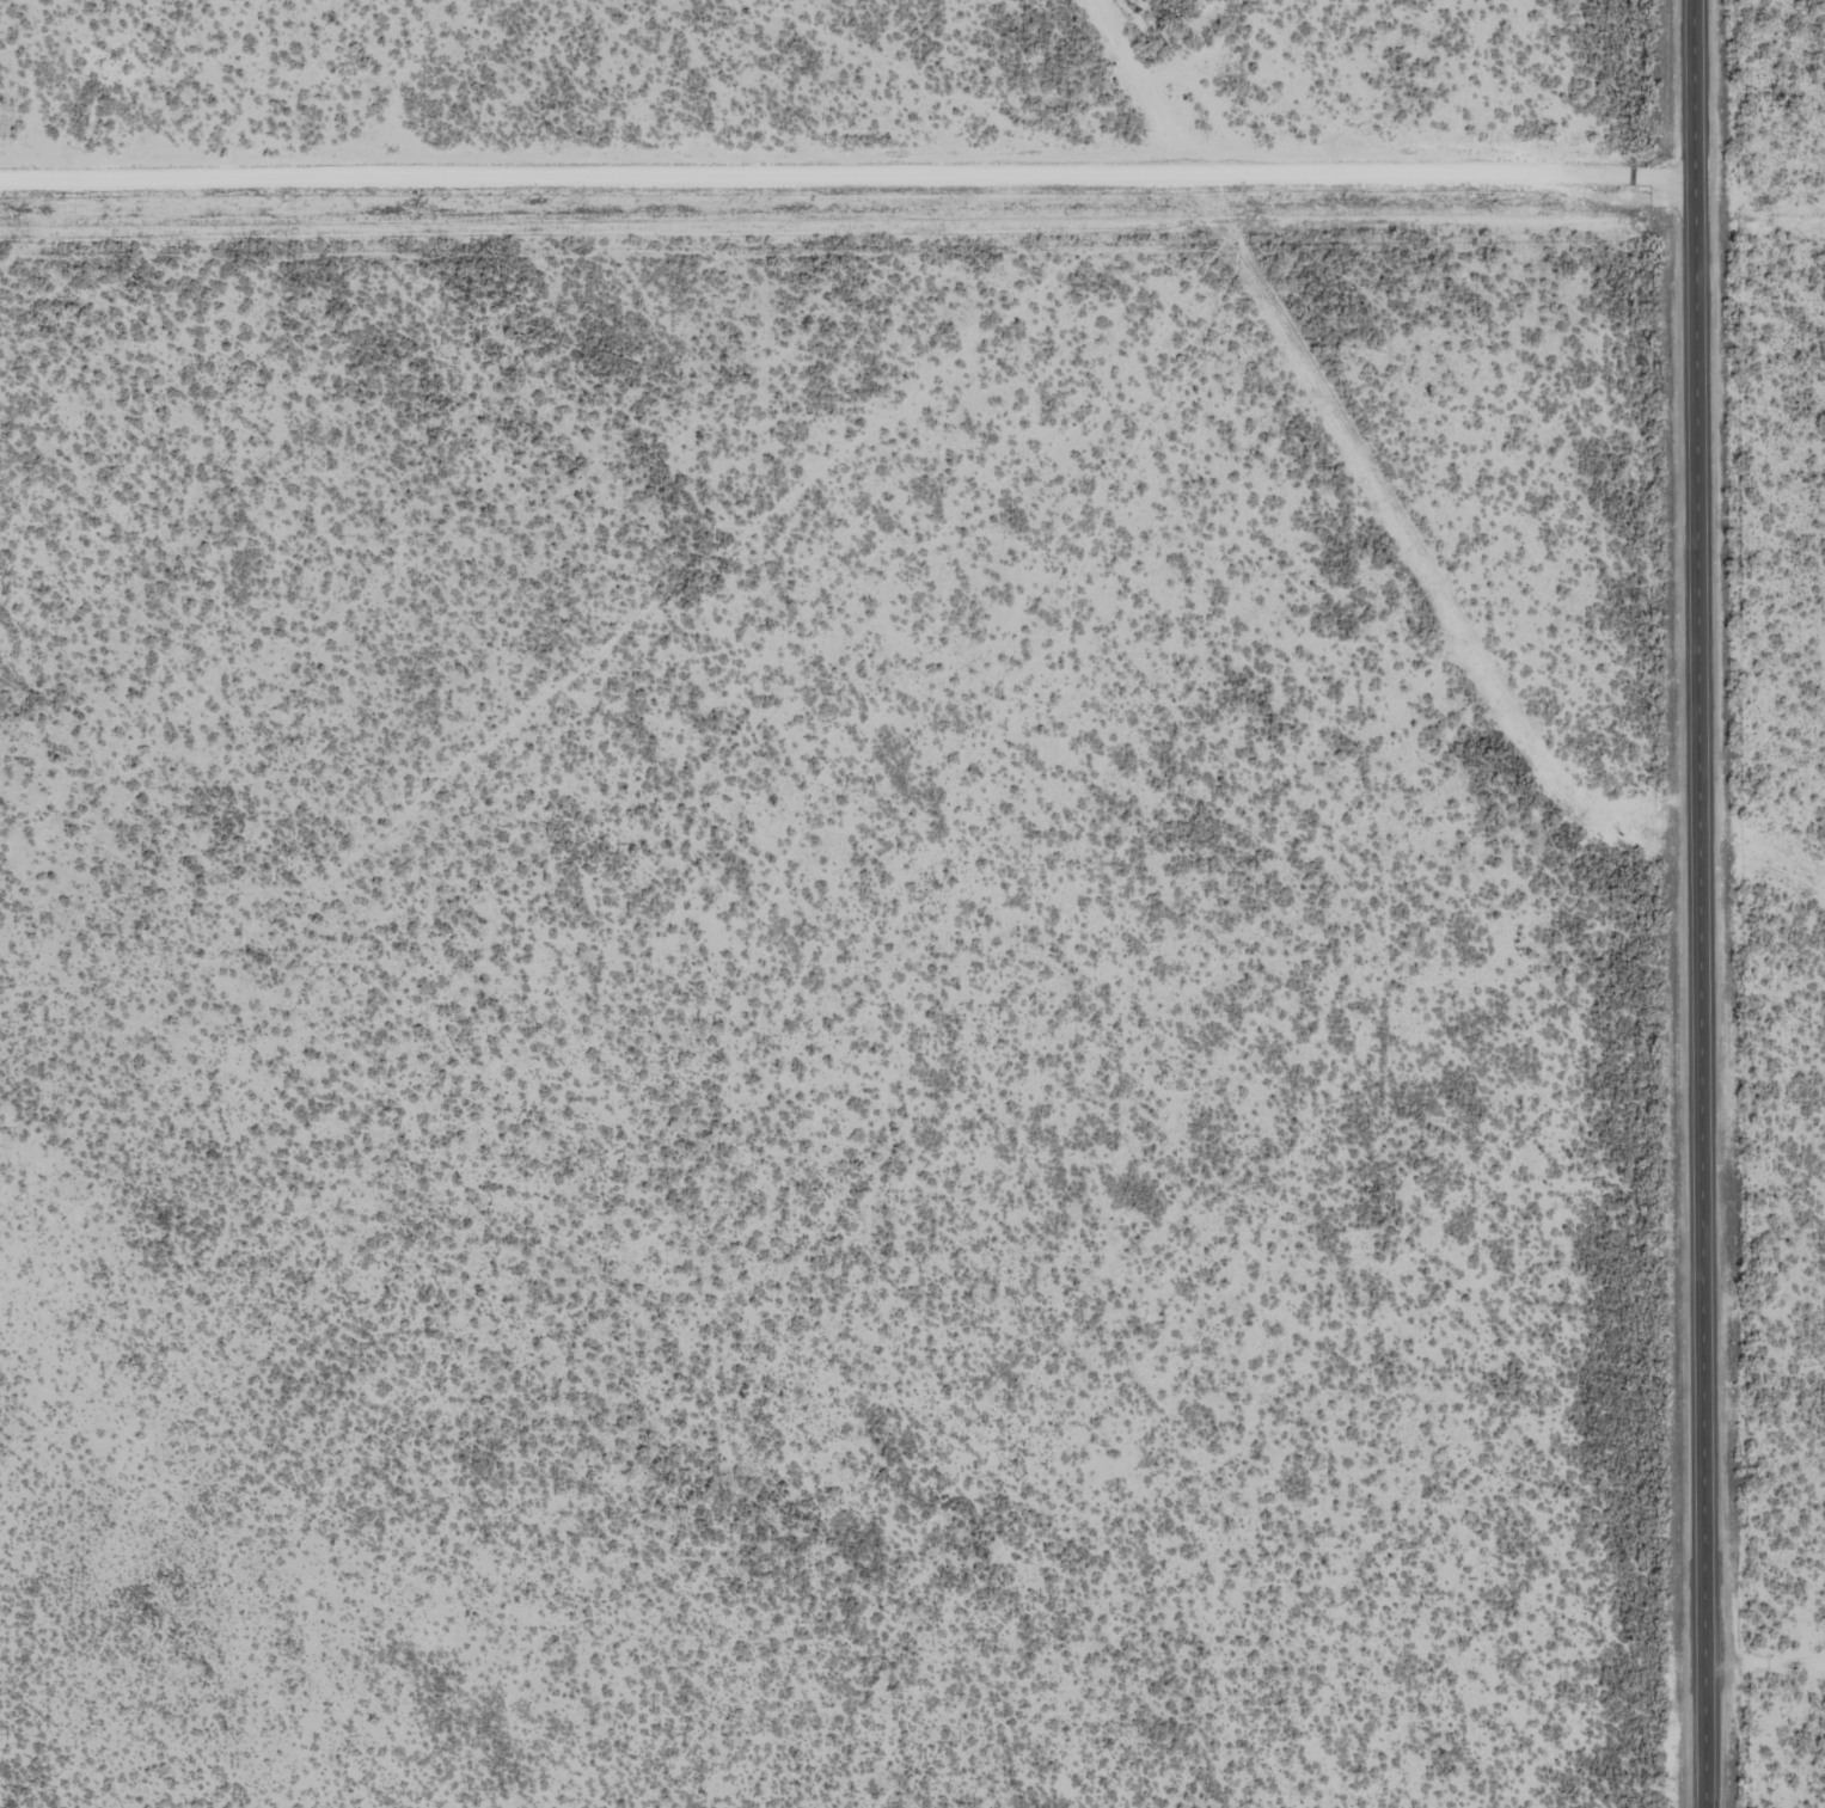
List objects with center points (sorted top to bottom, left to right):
road: (1701, 903)
road: (1765, 1672)

